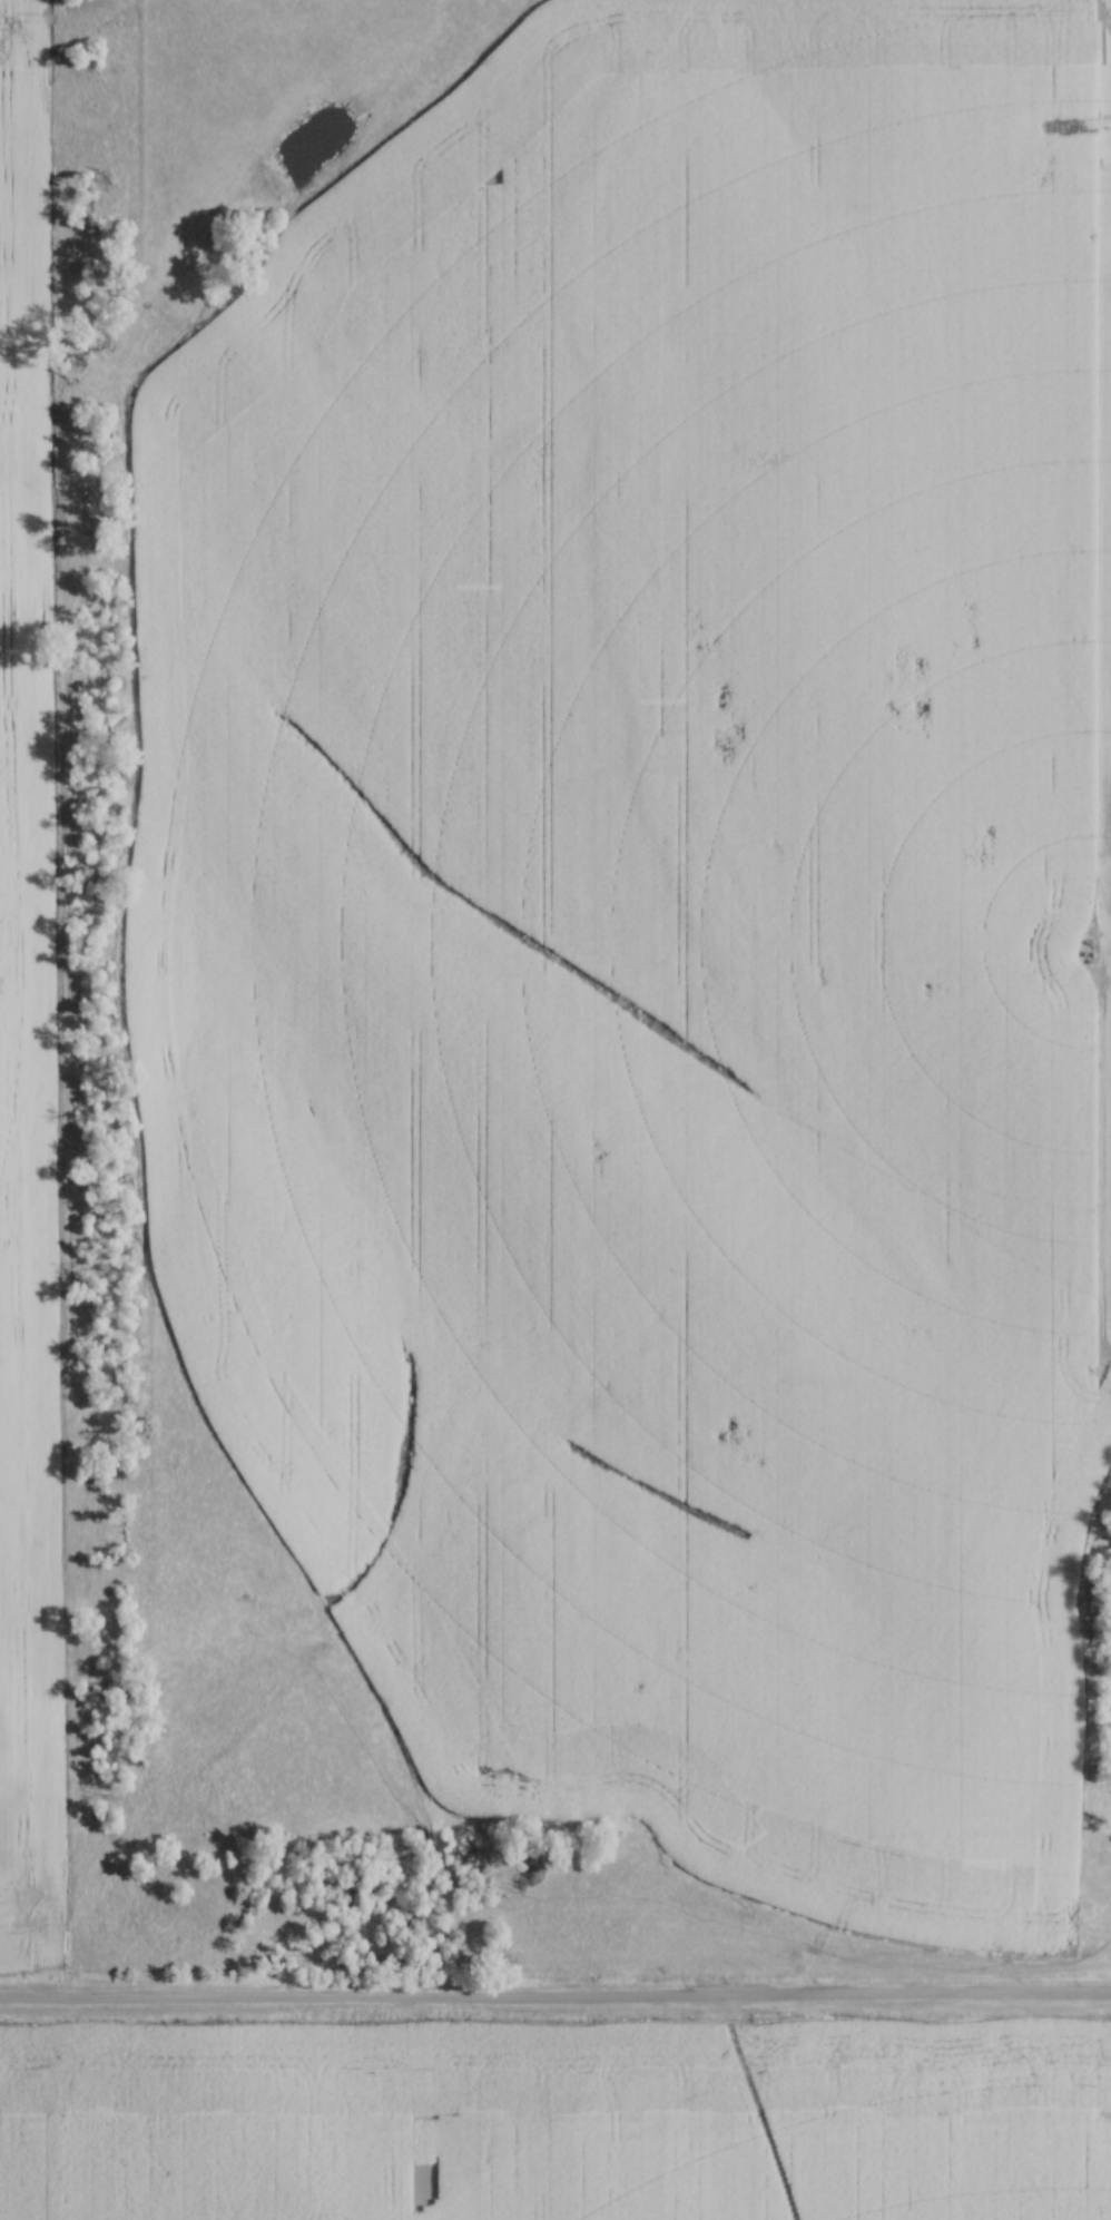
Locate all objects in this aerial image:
road: (554, 2002)

